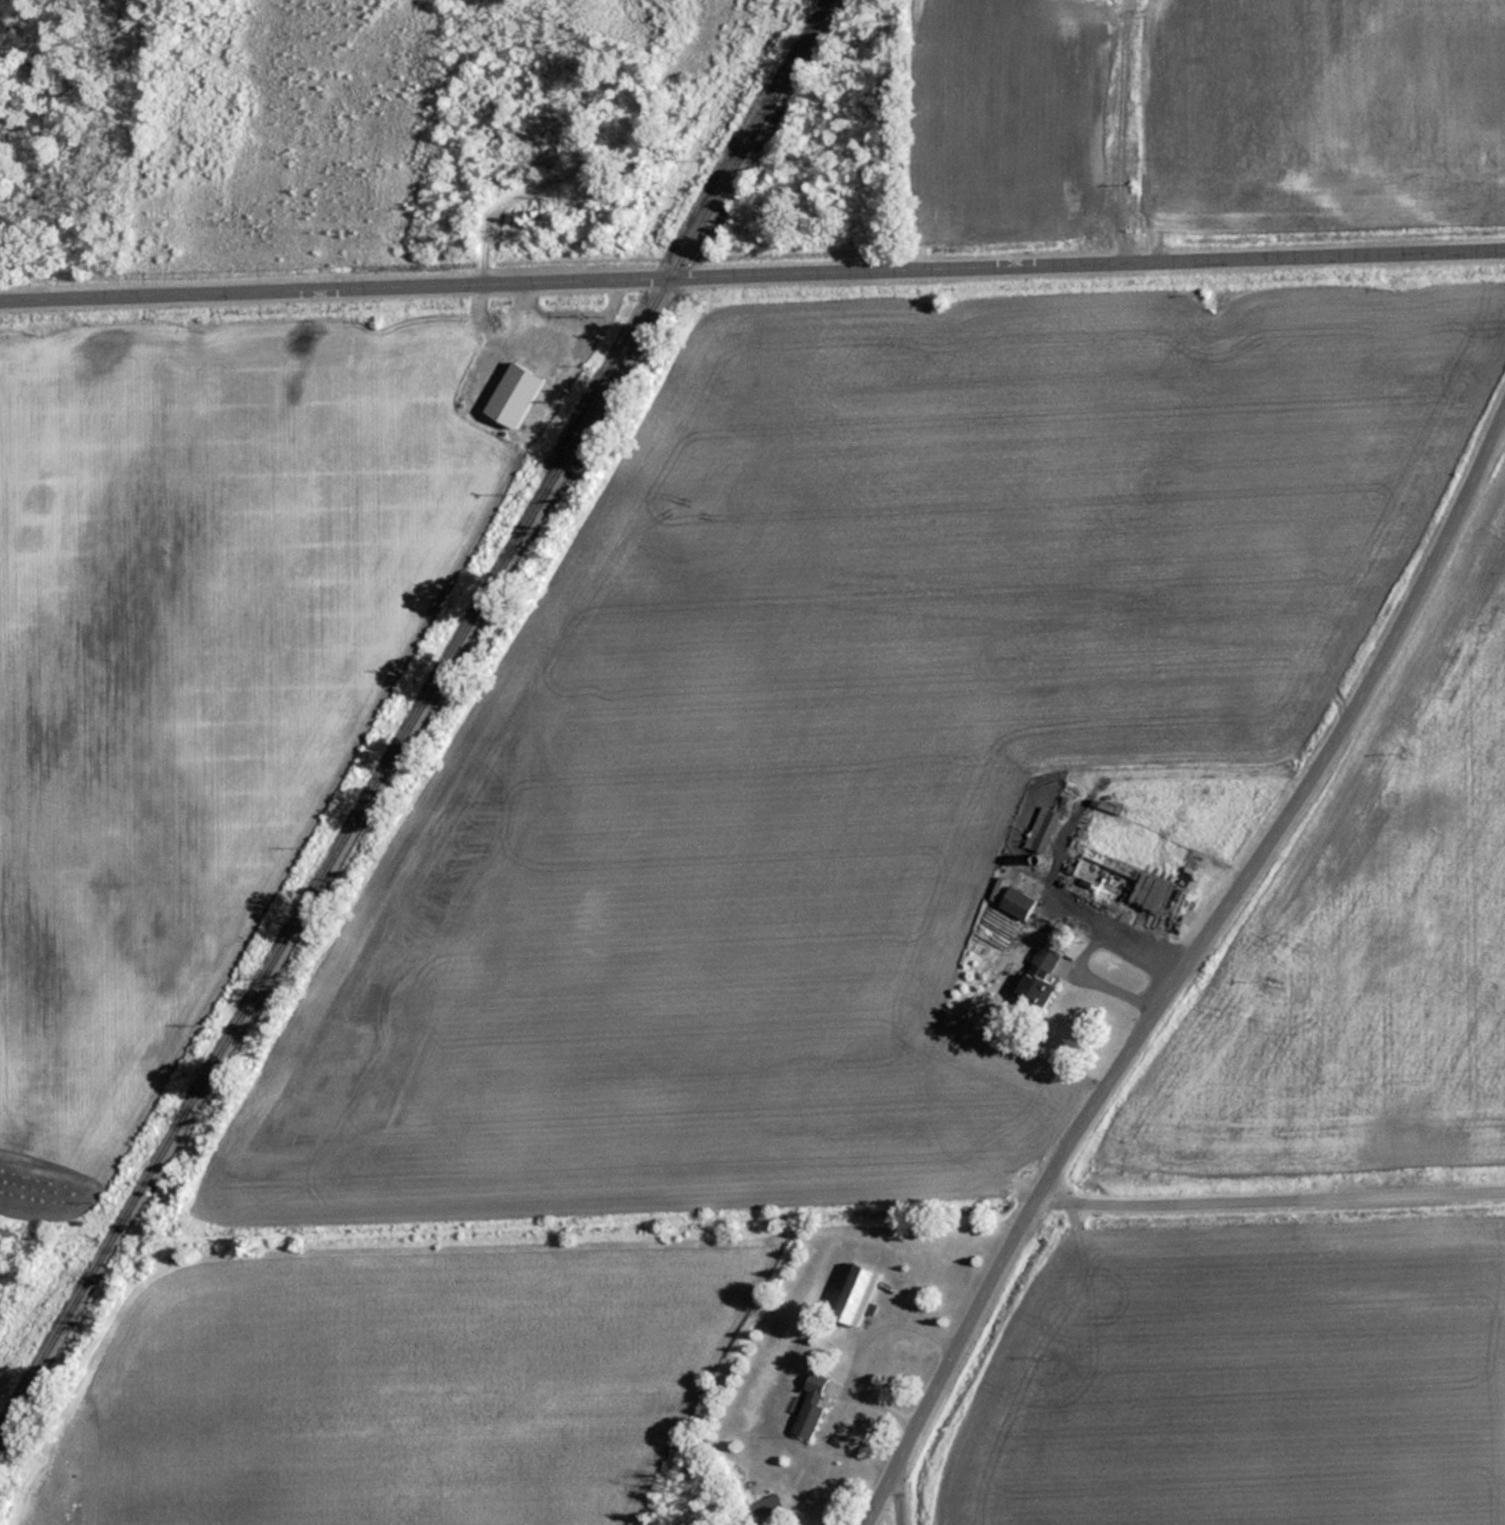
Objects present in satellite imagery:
building: (1107, 74)
road: (752, 272)
railway: (416, 715)
building: (1043, 829)
building: (1018, 902)
road: (1185, 964)
building: (1041, 974)
road: (1276, 1186)
building: (859, 1295)
building: (812, 1407)
road: (911, 1485)
building: (765, 1506)

